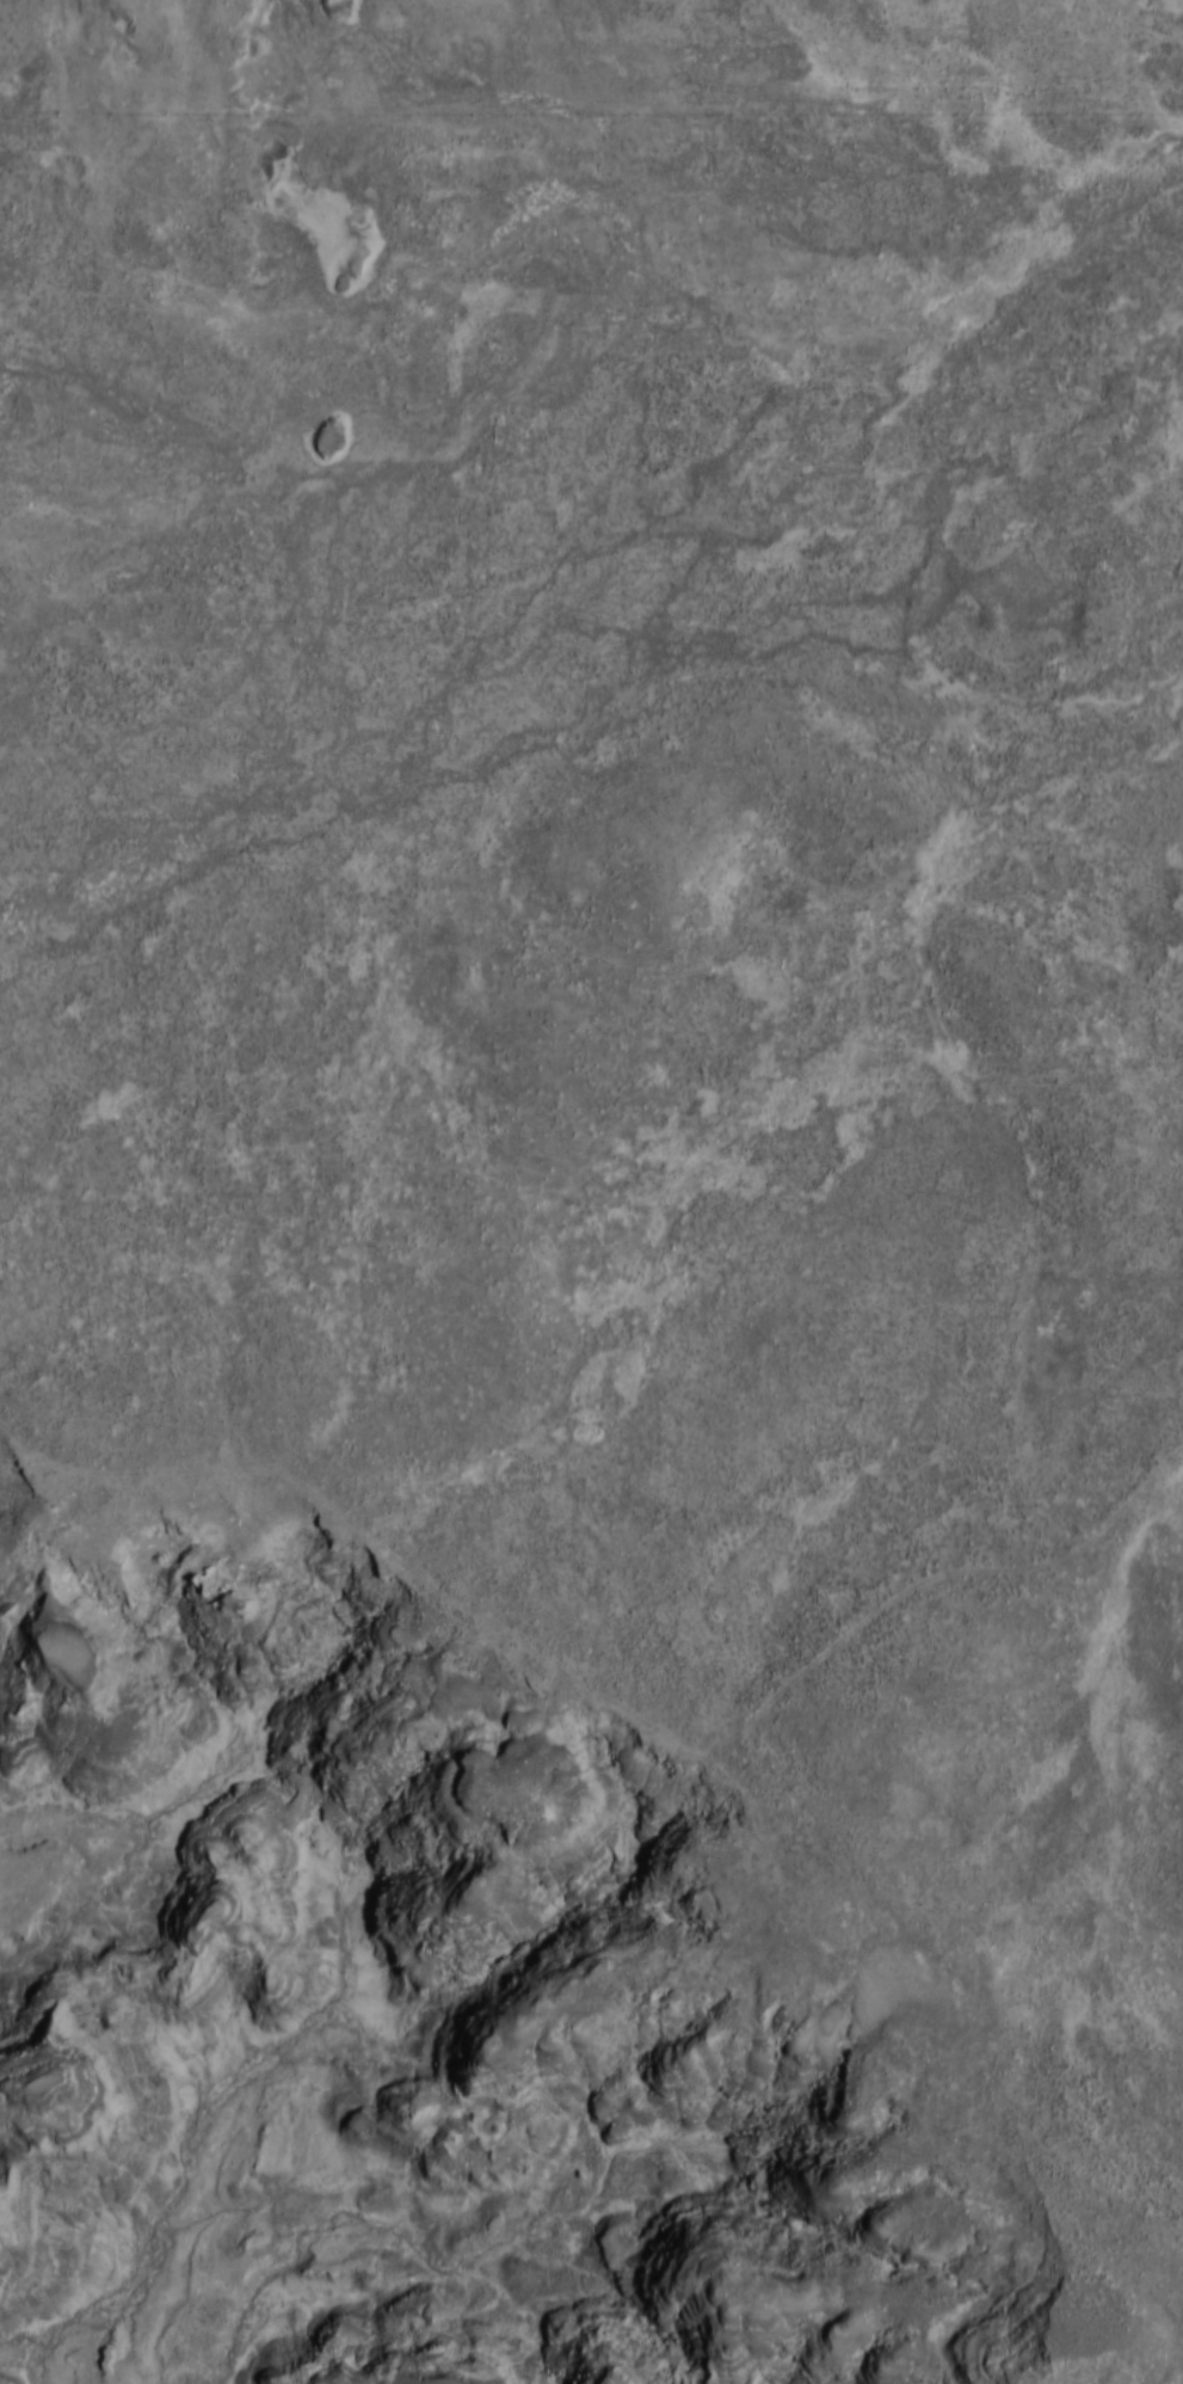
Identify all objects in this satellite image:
road: (658, 1618)

